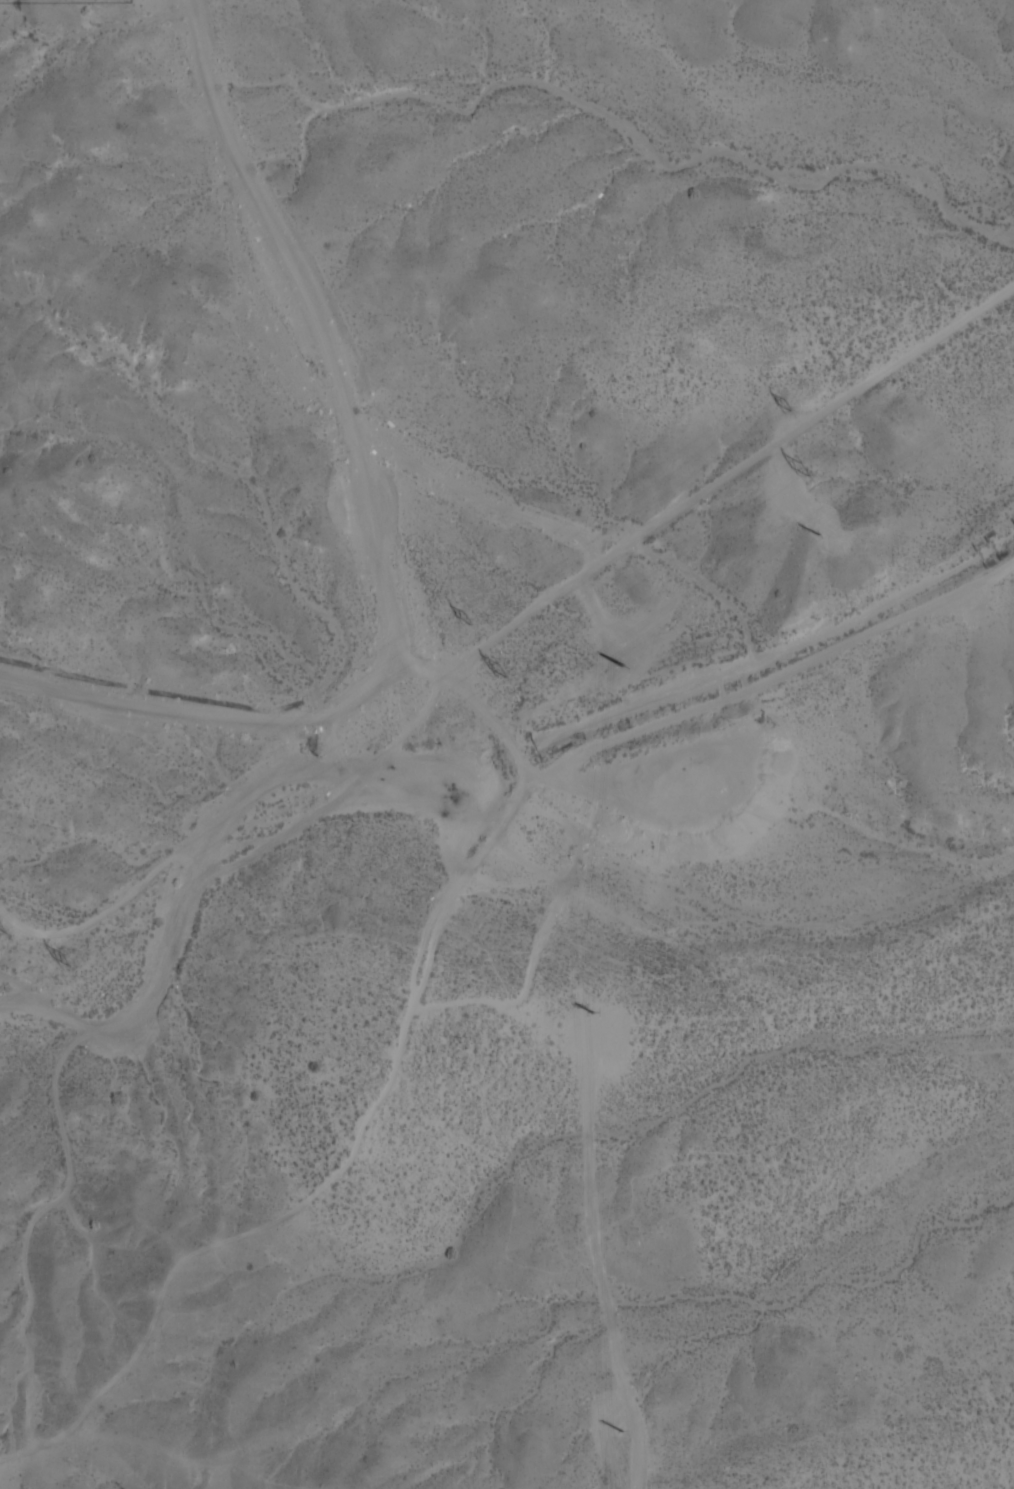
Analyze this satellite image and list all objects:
power tower: (786, 407)
power tower: (800, 470)
road: (482, 499)
power tower: (822, 538)
power tower: (467, 619)
power tower: (502, 668)
road: (781, 676)
power tower: (602, 685)
road: (318, 720)
dam: (526, 758)
road: (609, 789)
power tower: (1, 930)
power tower: (63, 960)
power tower: (610, 1038)
power tower: (621, 1433)

